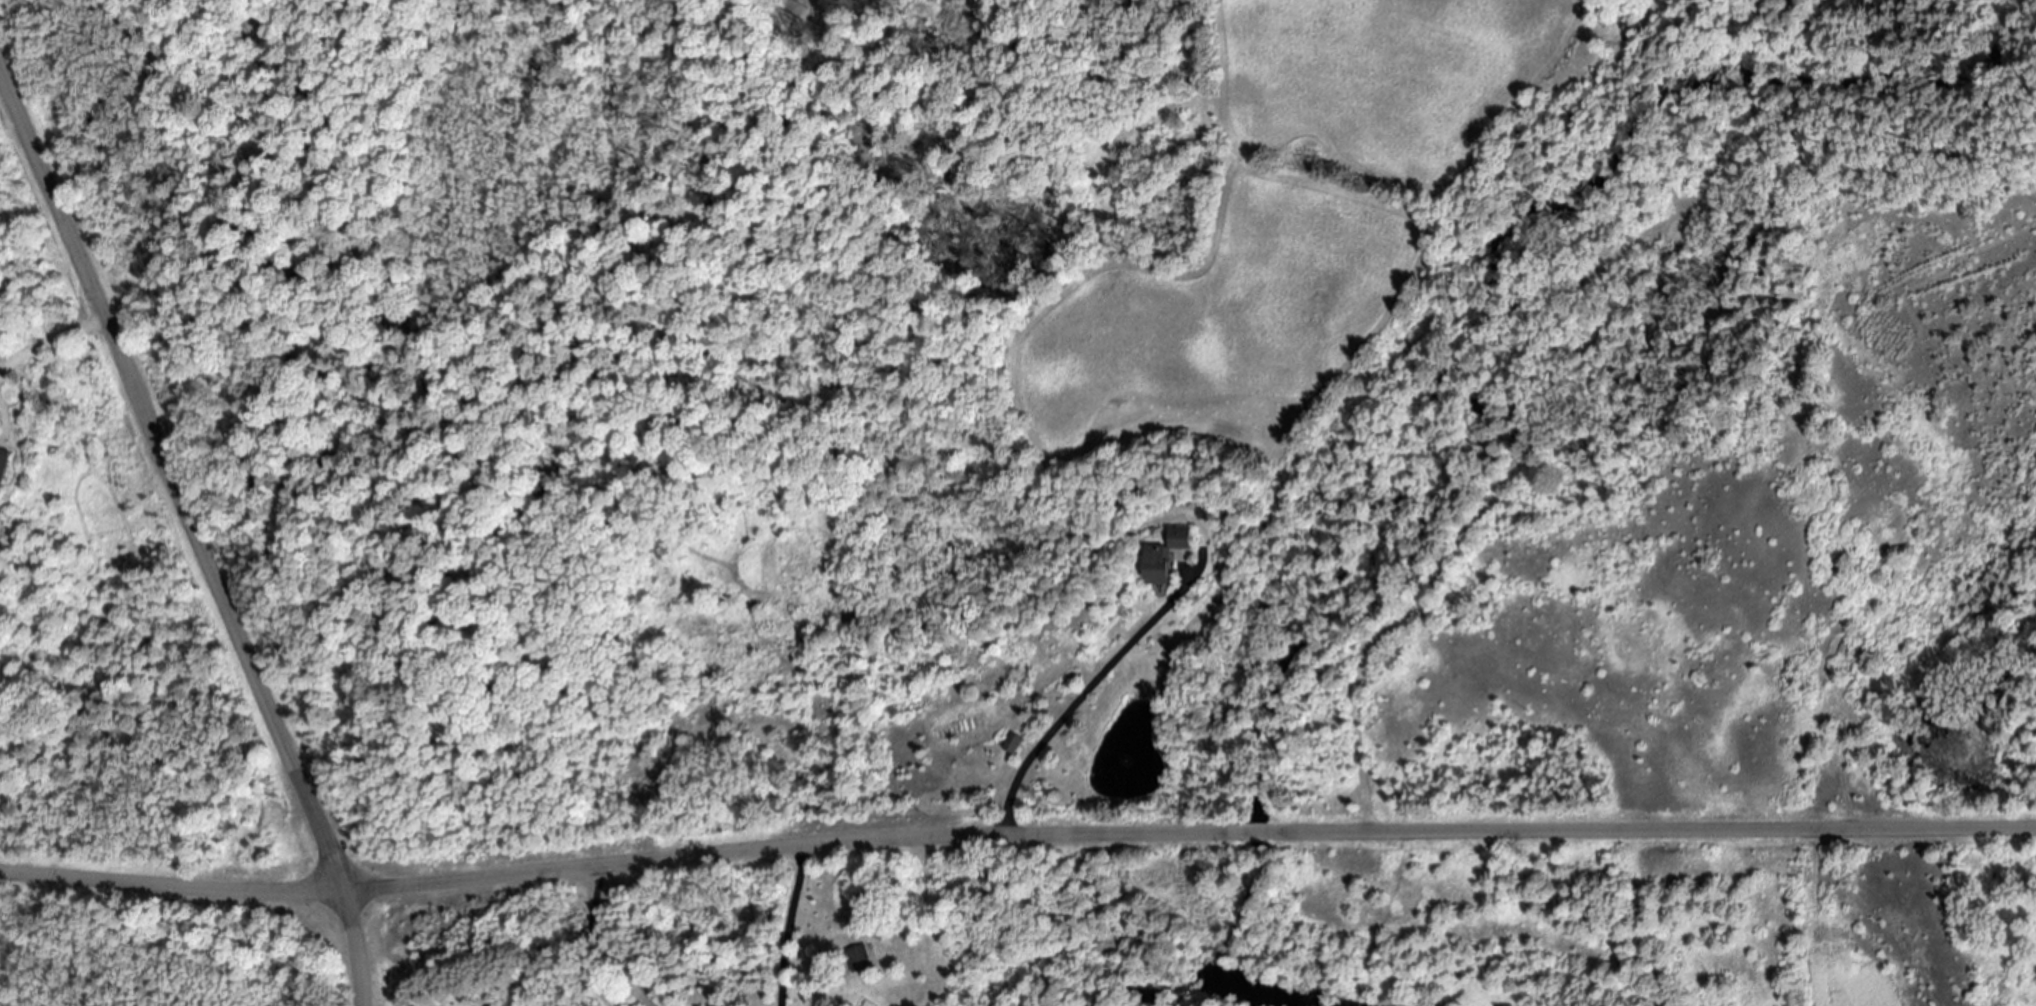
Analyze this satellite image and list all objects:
road: (49, 343)
building: (3, 461)
road: (192, 536)
building: (1183, 538)
building: (1158, 564)
road: (1077, 694)
building: (1012, 742)
road: (1016, 835)
road: (790, 925)
road: (595, 946)
river: (1203, 986)

